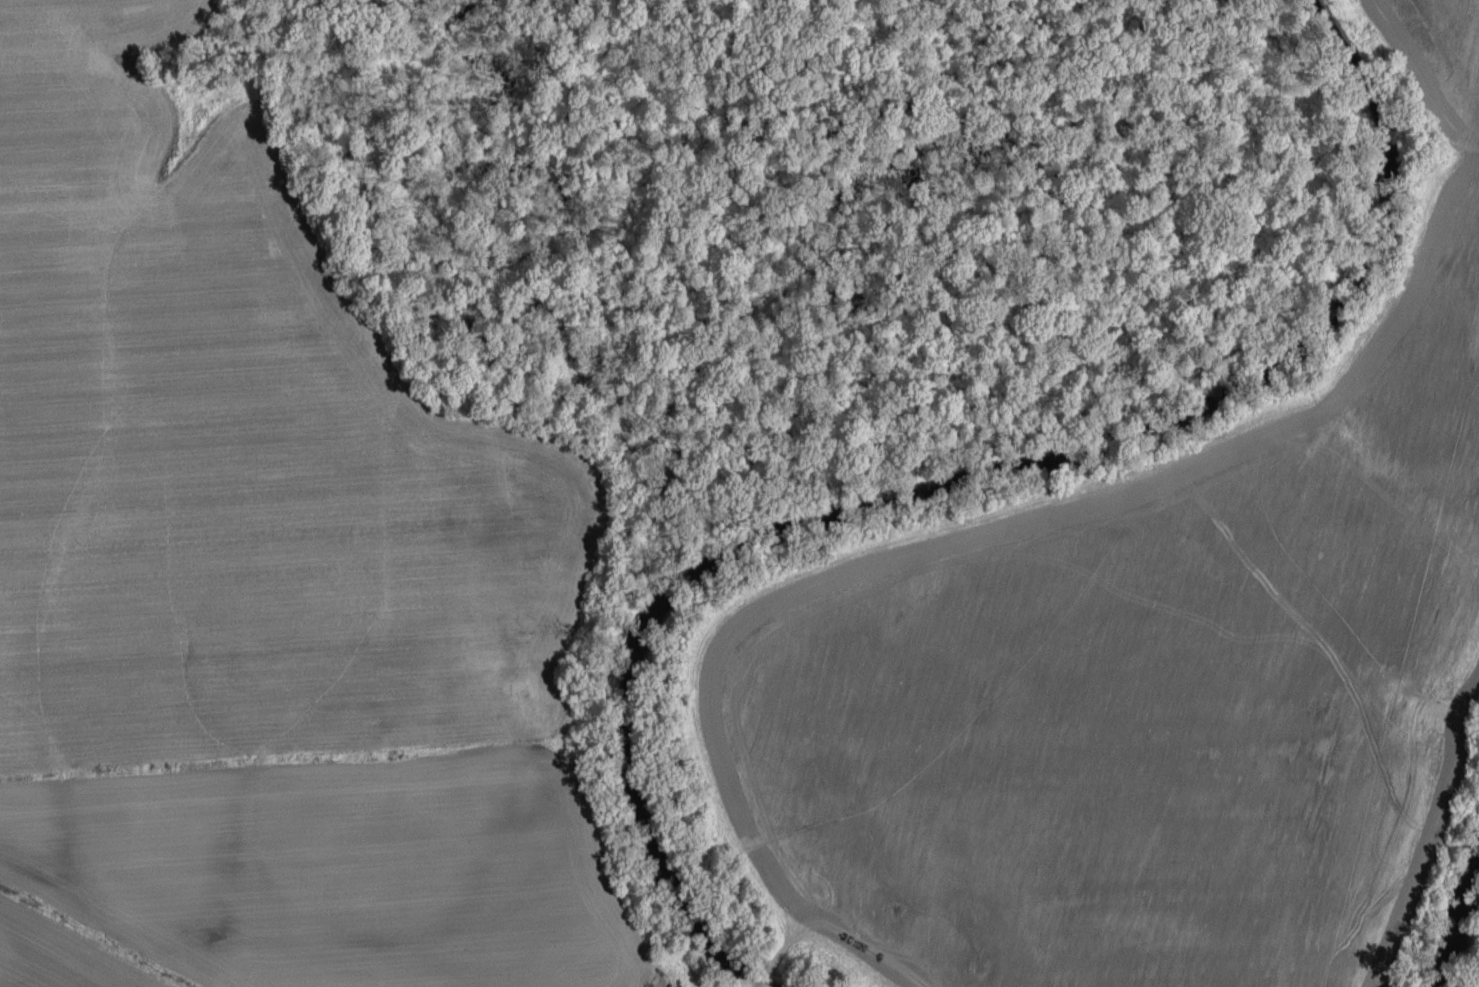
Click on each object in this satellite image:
river: (946, 485)

